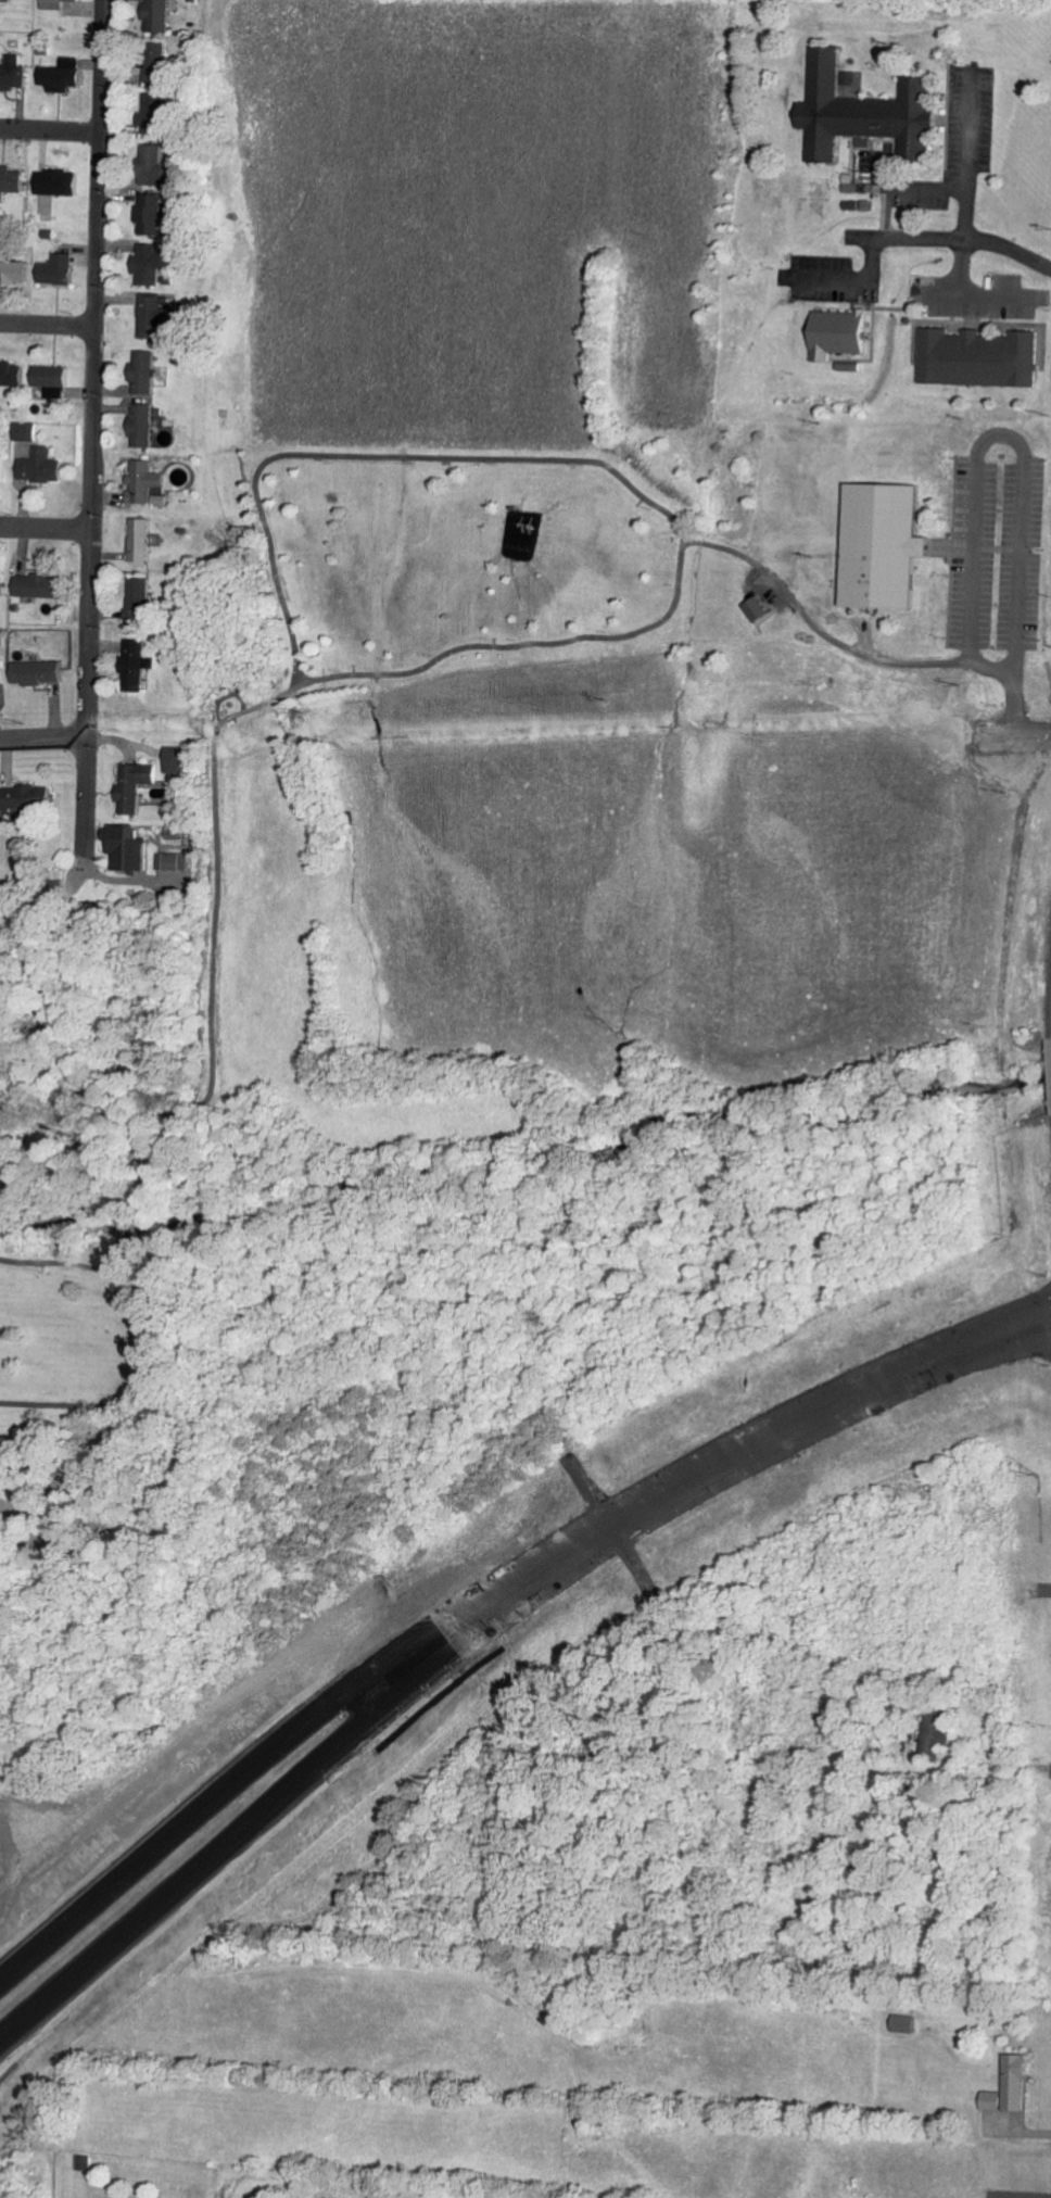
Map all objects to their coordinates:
building: (60, 3)
building: (160, 15)
building: (14, 75)
building: (63, 77)
road: (49, 128)
building: (13, 181)
building: (60, 184)
building: (151, 214)
building: (152, 265)
building: (59, 270)
building: (15, 271)
road: (49, 320)
building: (149, 370)
building: (1, 375)
building: (52, 377)
road: (96, 425)
building: (145, 427)
building: (30, 434)
building: (3, 467)
building: (43, 467)
building: (148, 481)
road: (47, 527)
building: (143, 540)
building: (3, 583)
building: (42, 585)
building: (143, 598)
building: (139, 666)
building: (1, 673)
building: (41, 673)
road: (1016, 733)
road: (45, 737)
building: (181, 761)
building: (139, 786)
building: (23, 798)
building: (131, 849)
building: (180, 861)
road: (713, 1465)
building: (938, 1736)
road: (193, 1812)
road: (206, 1857)
building: (908, 2024)
building: (1021, 2077)

